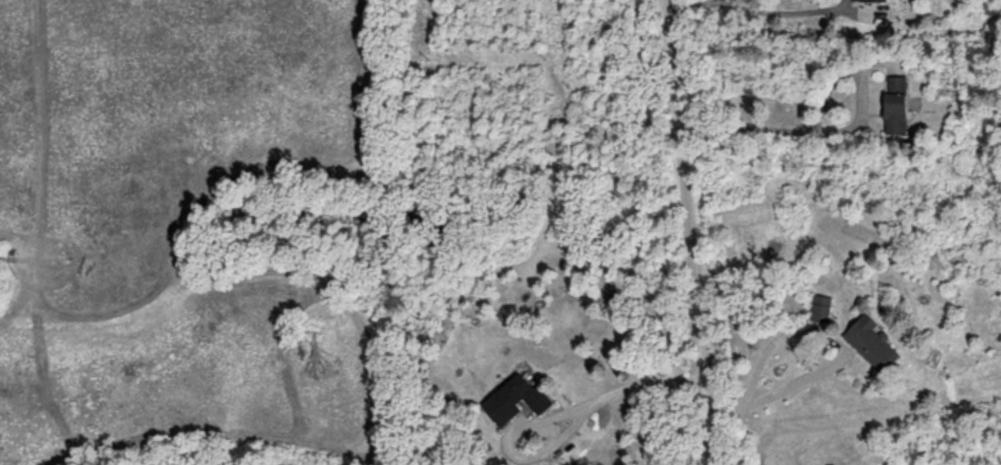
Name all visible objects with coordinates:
building: (871, 0)
road: (717, 1)
road: (692, 6)
road: (781, 13)
building: (897, 106)
road: (767, 129)
road: (689, 232)
building: (822, 309)
building: (874, 344)
road: (769, 359)
road: (773, 395)
building: (516, 398)
road: (546, 420)
road: (519, 424)

